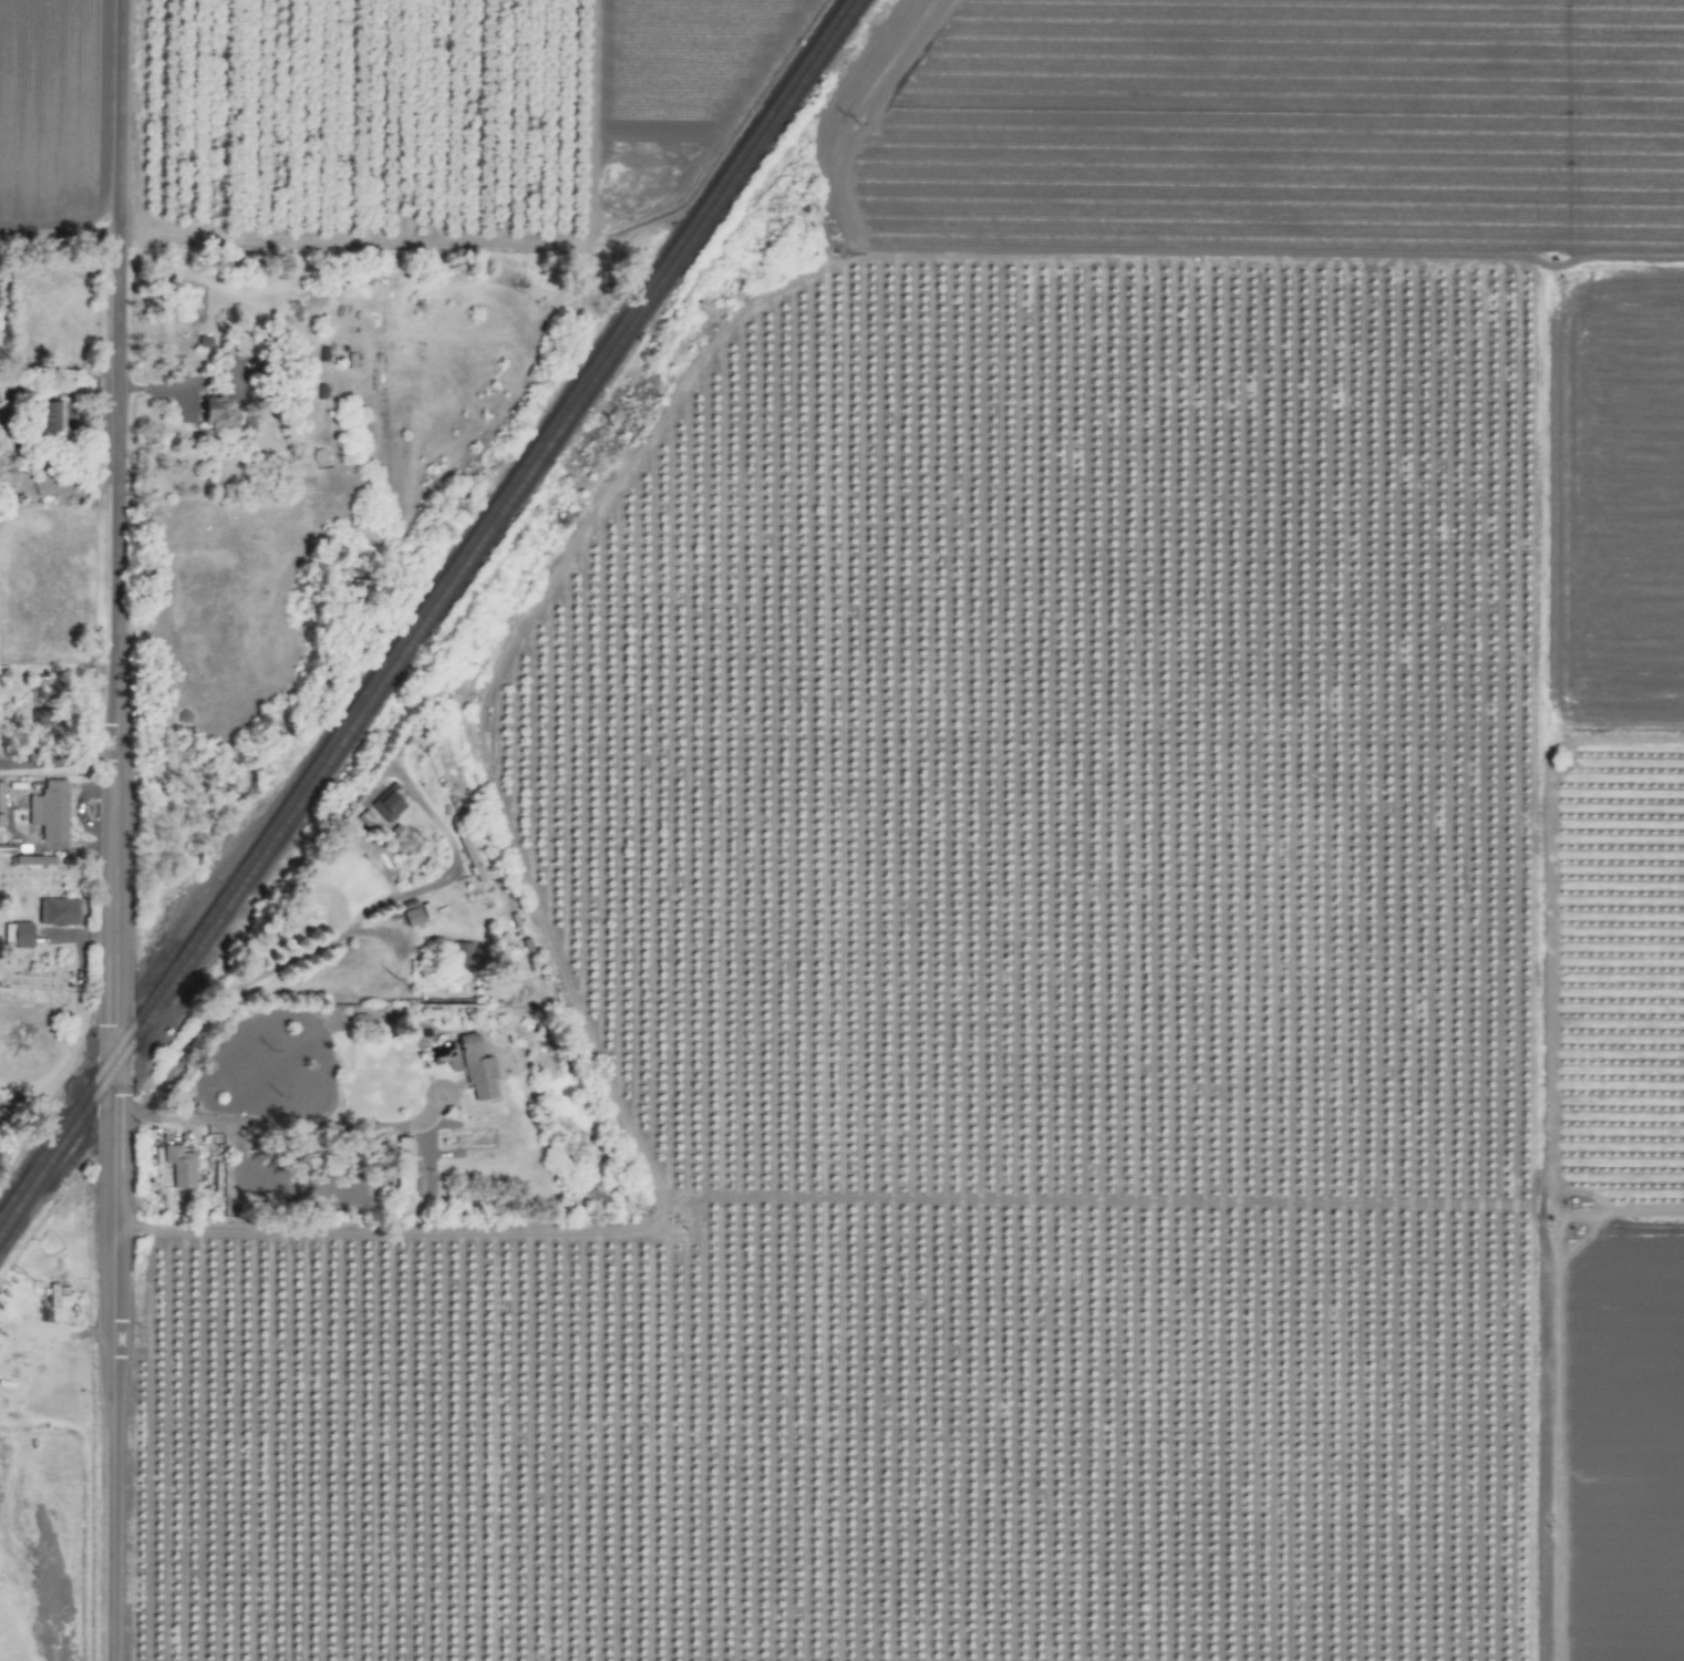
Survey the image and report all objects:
road: (59, 245)
road: (179, 381)
building: (218, 411)
building: (49, 415)
railway: (423, 607)
railway: (431, 617)
road: (55, 770)
building: (50, 809)
road: (113, 830)
road: (1550, 900)
building: (56, 911)
building: (18, 933)
road: (308, 950)
building: (462, 955)
building: (477, 1069)
road: (266, 1123)
building: (404, 1144)
road: (421, 1158)
building: (180, 1166)
building: (404, 1183)

